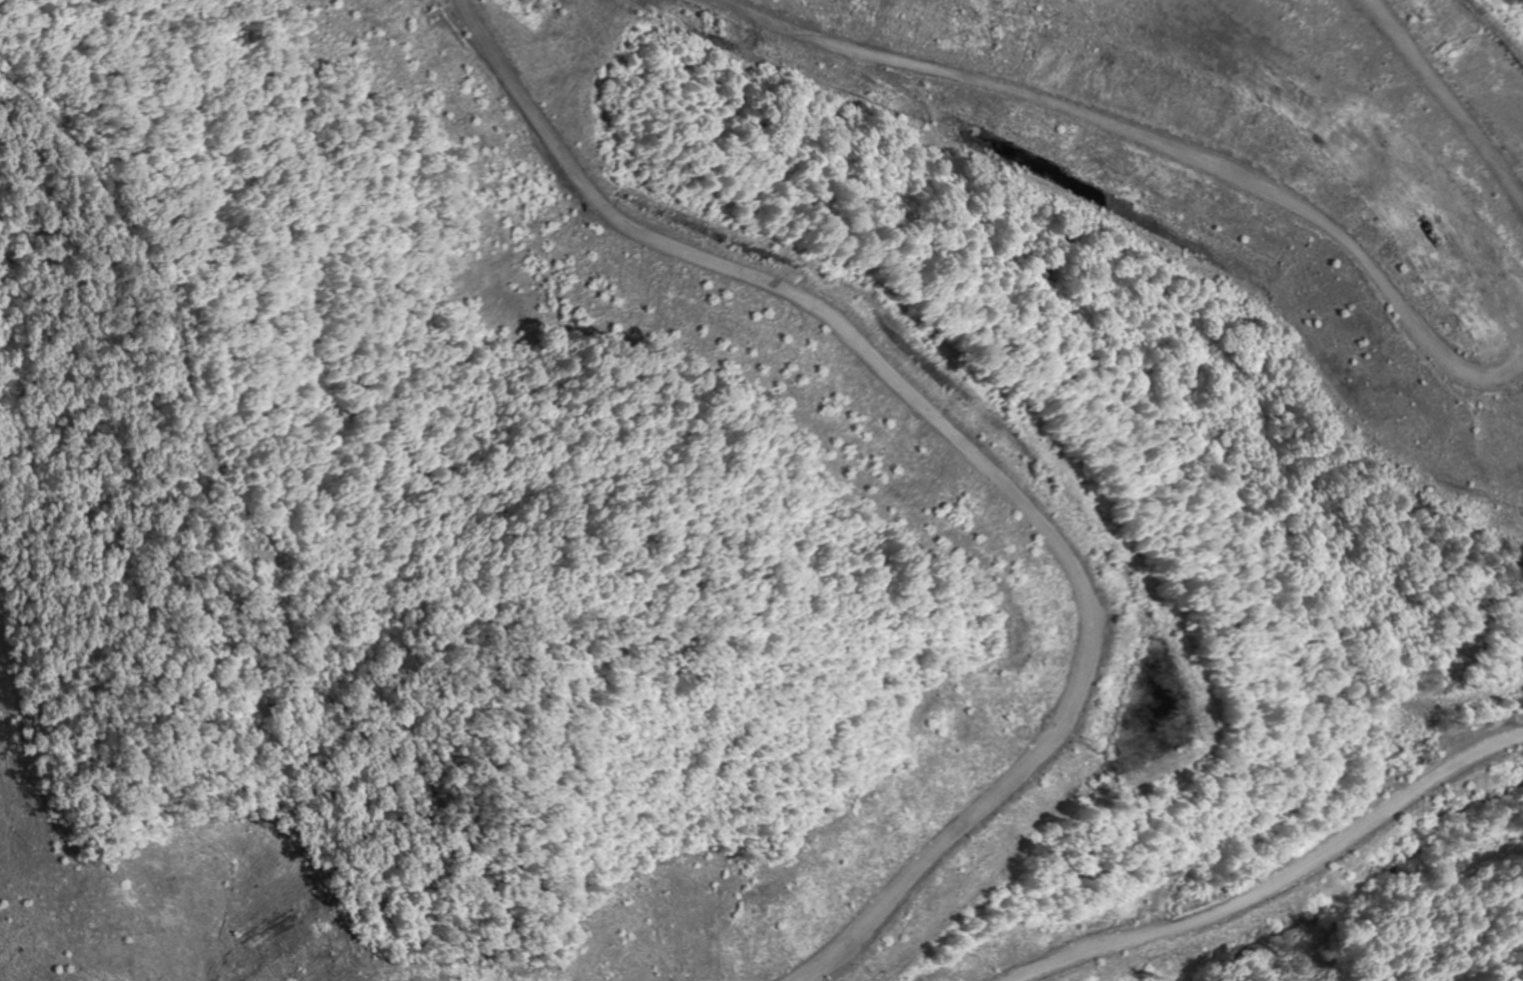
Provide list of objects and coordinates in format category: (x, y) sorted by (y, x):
road: (1334, 870)

